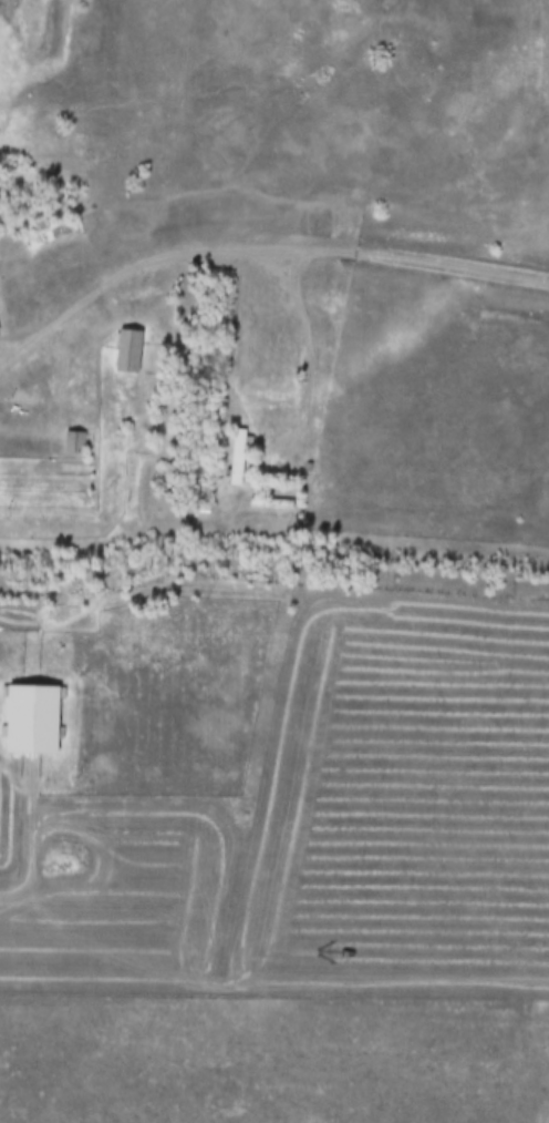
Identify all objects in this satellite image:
road: (258, 252)
building: (125, 353)
building: (71, 443)
building: (234, 458)
building: (28, 721)

